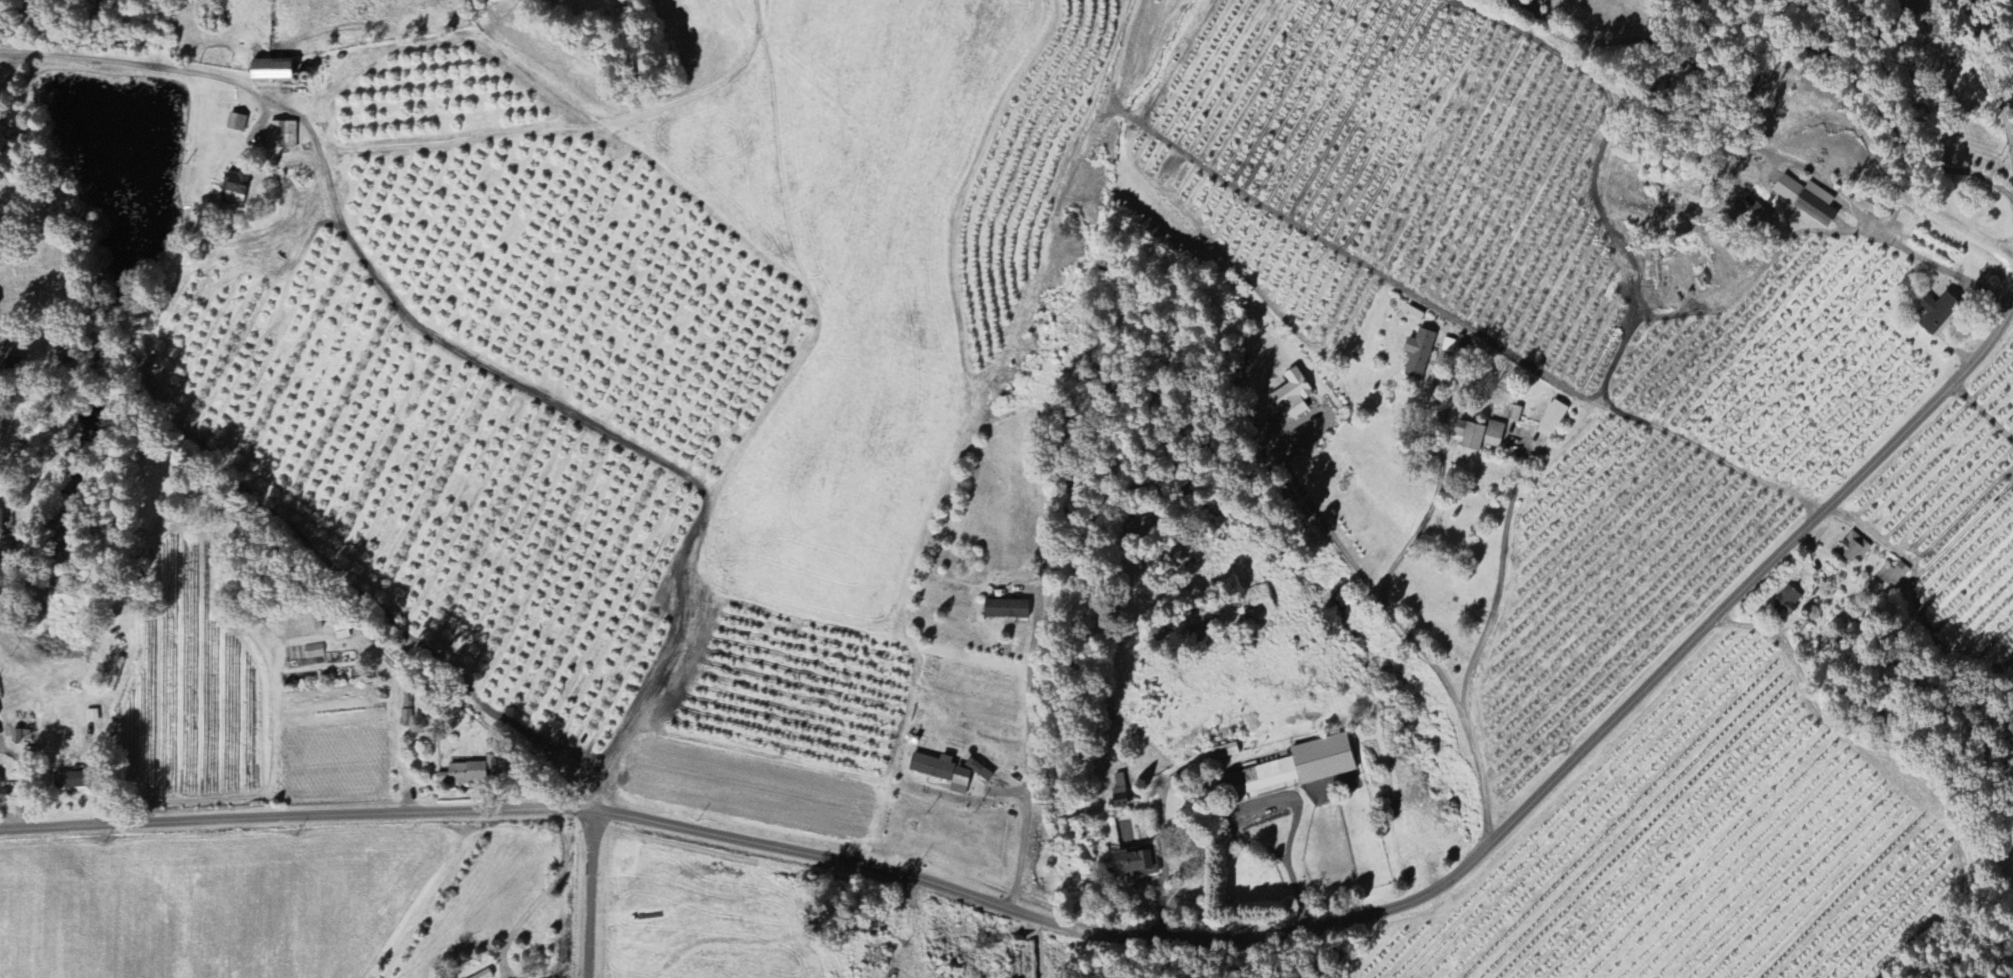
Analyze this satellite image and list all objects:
road: (1787, 43)
road: (141, 67)
building: (269, 71)
road: (1998, 97)
building: (236, 123)
building: (282, 135)
building: (234, 188)
building: (1807, 200)
building: (1756, 218)
road: (1942, 268)
building: (1937, 313)
building: (1418, 354)
building: (1292, 396)
road: (1606, 399)
dam: (114, 413)
building: (1551, 421)
road: (1430, 512)
building: (1, 522)
building: (1853, 548)
building: (1893, 576)
road: (1501, 589)
building: (1785, 603)
building: (1249, 608)
building: (1003, 610)
road: (1408, 632)
road: (1030, 695)
building: (91, 717)
building: (1225, 752)
building: (932, 766)
building: (1293, 769)
building: (978, 770)
building: (463, 774)
building: (66, 781)
building: (0, 790)
building: (1119, 793)
road: (1295, 806)
road: (1022, 845)
building: (2012, 849)
building: (1131, 863)
road: (590, 895)
road: (542, 896)
road: (1160, 904)
road: (1137, 939)
road: (1314, 959)
building: (485, 974)

